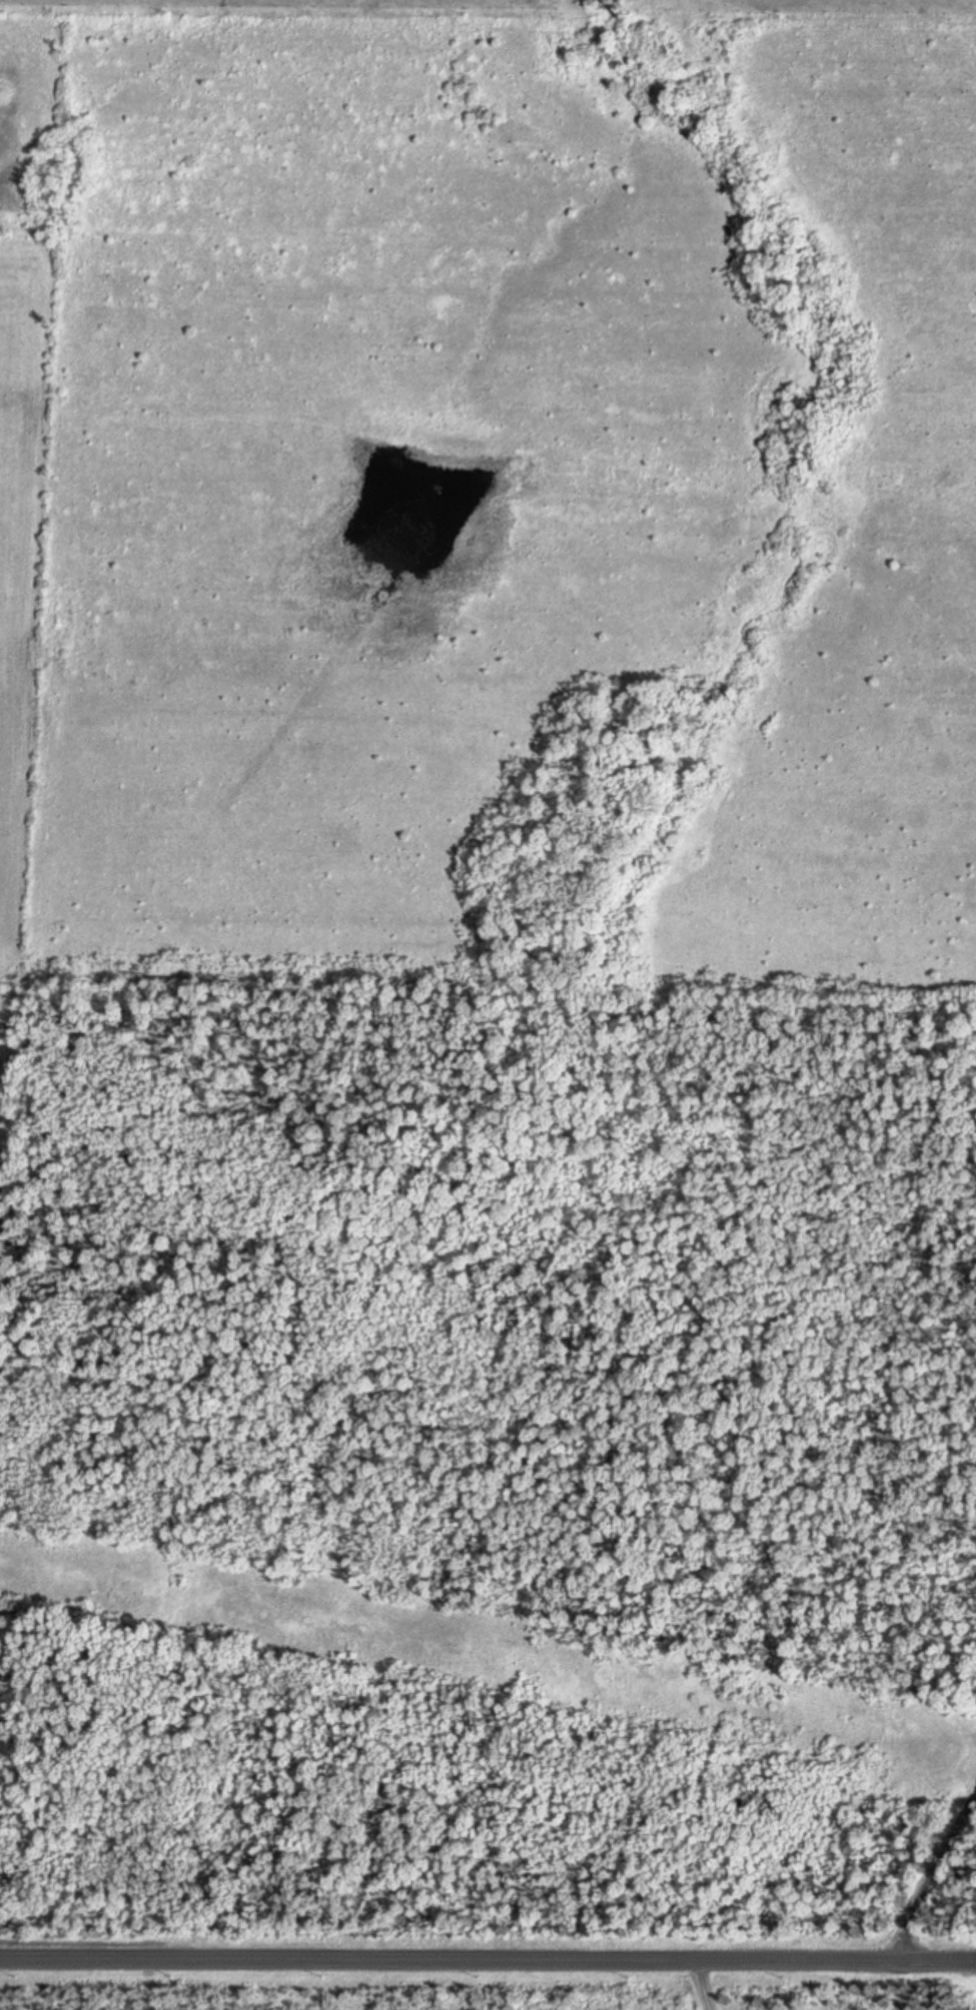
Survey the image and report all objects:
road: (933, 1875)
road: (488, 1958)
road: (702, 1984)

